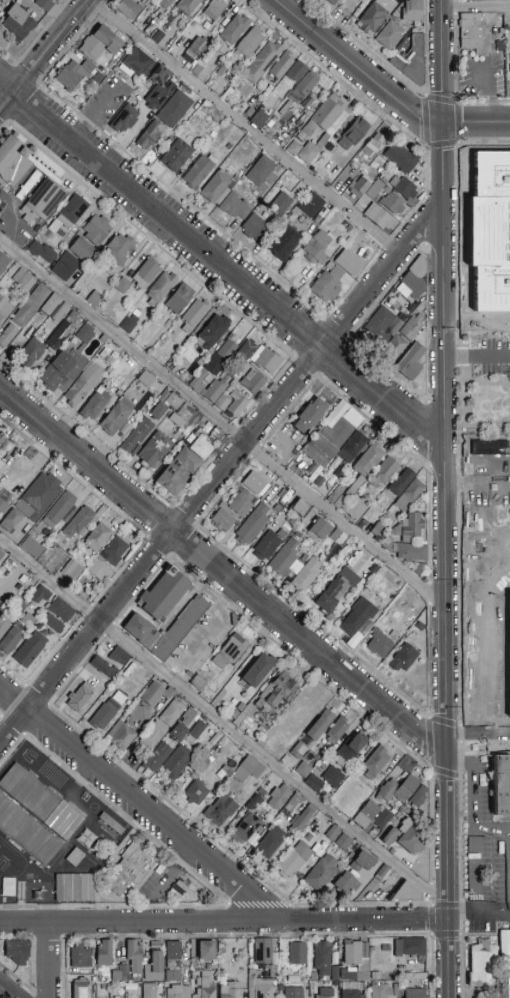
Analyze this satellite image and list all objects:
building: (334, 1)
building: (164, 3)
building: (44, 5)
building: (187, 6)
road: (475, 7)
building: (128, 8)
building: (214, 9)
building: (232, 9)
building: (412, 11)
building: (374, 15)
building: (17, 22)
building: (234, 30)
building: (472, 31)
building: (390, 35)
building: (157, 37)
building: (100, 43)
building: (249, 43)
road: (365, 48)
building: (194, 53)
road: (44, 54)
building: (411, 59)
building: (263, 61)
building: (137, 62)
building: (282, 66)
building: (197, 70)
building: (221, 71)
building: (296, 72)
building: (74, 74)
building: (160, 74)
road: (333, 74)
building: (500, 86)
building: (303, 87)
road: (382, 88)
building: (244, 90)
building: (227, 94)
building: (159, 96)
road: (483, 101)
road: (452, 102)
building: (174, 109)
building: (212, 112)
building: (124, 119)
building: (258, 119)
traffic signals: (442, 122)
building: (324, 126)
road: (242, 128)
building: (353, 133)
building: (150, 135)
building: (372, 147)
building: (294, 148)
building: (176, 156)
building: (401, 157)
building: (342, 163)
building: (260, 171)
building: (199, 172)
building: (9, 180)
building: (215, 186)
building: (359, 187)
building: (403, 187)
building: (377, 190)
building: (280, 203)
building: (392, 204)
building: (310, 205)
building: (234, 207)
building: (68, 214)
building: (379, 219)
building: (254, 227)
building: (97, 230)
building: (284, 243)
building: (317, 248)
building: (81, 249)
building: (119, 249)
building: (42, 252)
building: (4, 263)
road: (221, 263)
building: (348, 263)
building: (65, 266)
building: (146, 273)
building: (24, 280)
building: (413, 280)
building: (327, 283)
building: (123, 286)
building: (161, 287)
building: (179, 298)
building: (94, 299)
building: (50, 305)
building: (30, 306)
building: (4, 309)
building: (60, 312)
building: (194, 314)
building: (129, 322)
building: (379, 326)
building: (411, 329)
building: (213, 332)
building: (85, 334)
building: (60, 335)
building: (8, 336)
building: (103, 338)
building: (394, 349)
building: (246, 350)
building: (30, 352)
road: (477, 356)
building: (221, 357)
building: (266, 359)
building: (410, 362)
building: (63, 370)
building: (146, 379)
building: (198, 382)
building: (249, 384)
building: (83, 385)
building: (214, 390)
building: (119, 393)
building: (174, 402)
building: (96, 403)
building: (222, 403)
building: (237, 404)
building: (158, 411)
building: (310, 415)
building: (116, 417)
building: (186, 418)
road: (222, 423)
building: (129, 424)
building: (217, 433)
building: (137, 435)
building: (331, 438)
building: (1, 439)
building: (201, 447)
building: (352, 447)
building: (134, 450)
building: (156, 450)
building: (305, 454)
building: (365, 466)
building: (178, 472)
building: (384, 472)
road: (218, 475)
building: (318, 481)
building: (401, 482)
building: (255, 483)
building: (409, 496)
building: (39, 497)
building: (338, 497)
road: (444, 499)
building: (243, 504)
building: (3, 507)
building: (300, 507)
building: (59, 509)
building: (357, 509)
building: (222, 518)
building: (11, 521)
building: (79, 523)
building: (248, 528)
building: (408, 528)
building: (377, 529)
building: (319, 530)
building: (336, 535)
building: (96, 538)
road: (459, 544)
building: (266, 546)
building: (33, 547)
building: (405, 550)
building: (113, 552)
building: (1, 554)
building: (284, 559)
building: (419, 568)
building: (99, 570)
building: (70, 572)
road: (221, 573)
building: (306, 575)
building: (336, 590)
building: (160, 593)
building: (40, 595)
building: (31, 607)
building: (61, 610)
building: (358, 617)
building: (28, 620)
building: (234, 620)
building: (52, 623)
building: (4, 626)
building: (419, 626)
building: (134, 627)
building: (175, 628)
building: (11, 640)
parking lot: (199, 641)
building: (379, 644)
building: (30, 649)
building: (231, 651)
building: (119, 656)
building: (403, 658)
building: (102, 667)
building: (255, 669)
building: (128, 675)
building: (197, 682)
building: (275, 692)
building: (153, 694)
building: (79, 697)
building: (173, 712)
building: (104, 714)
building: (140, 714)
building: (296, 715)
road: (222, 721)
building: (184, 723)
building: (319, 725)
building: (114, 729)
building: (197, 730)
building: (336, 730)
road: (454, 732)
building: (154, 735)
building: (124, 738)
road: (430, 742)
building: (298, 751)
building: (348, 751)
building: (157, 756)
building: (178, 760)
building: (376, 761)
building: (248, 769)
building: (303, 770)
building: (332, 776)
building: (313, 783)
building: (496, 784)
building: (398, 789)
building: (29, 791)
building: (197, 792)
building: (262, 792)
building: (279, 797)
building: (418, 797)
road: (138, 802)
building: (254, 802)
building: (292, 804)
building: (219, 810)
building: (372, 816)
building: (301, 820)
road: (475, 823)
road: (432, 826)
building: (113, 828)
building: (244, 829)
building: (27, 833)
building: (332, 833)
road: (493, 833)
building: (389, 836)
building: (409, 836)
building: (270, 842)
building: (343, 842)
building: (75, 857)
building: (294, 860)
building: (362, 861)
parking lot: (488, 864)
building: (134, 869)
building: (321, 873)
building: (383, 873)
building: (345, 883)
building: (8, 888)
building: (75, 888)
road: (432, 891)
building: (405, 894)
road: (432, 903)
road: (478, 910)
road: (432, 920)
road: (224, 923)
building: (409, 946)
building: (206, 951)
building: (263, 951)
building: (18, 952)
building: (104, 953)
building: (297, 953)
building: (173, 954)
building: (80, 955)
building: (357, 955)
building: (134, 958)
building: (322, 959)
road: (50, 960)
road: (432, 966)
building: (154, 967)
building: (483, 967)
building: (273, 971)
building: (120, 973)
building: (354, 976)
building: (375, 976)
building: (405, 977)
building: (176, 985)
building: (206, 986)
building: (259, 986)
building: (106, 987)
building: (129, 988)
road: (10, 989)
building: (81, 989)
building: (154, 990)
building: (230, 990)
building: (352, 990)
building: (396, 990)
building: (293, 991)
building: (380, 991)
building: (325, 993)
building: (414, 993)
building: (101, 997)

